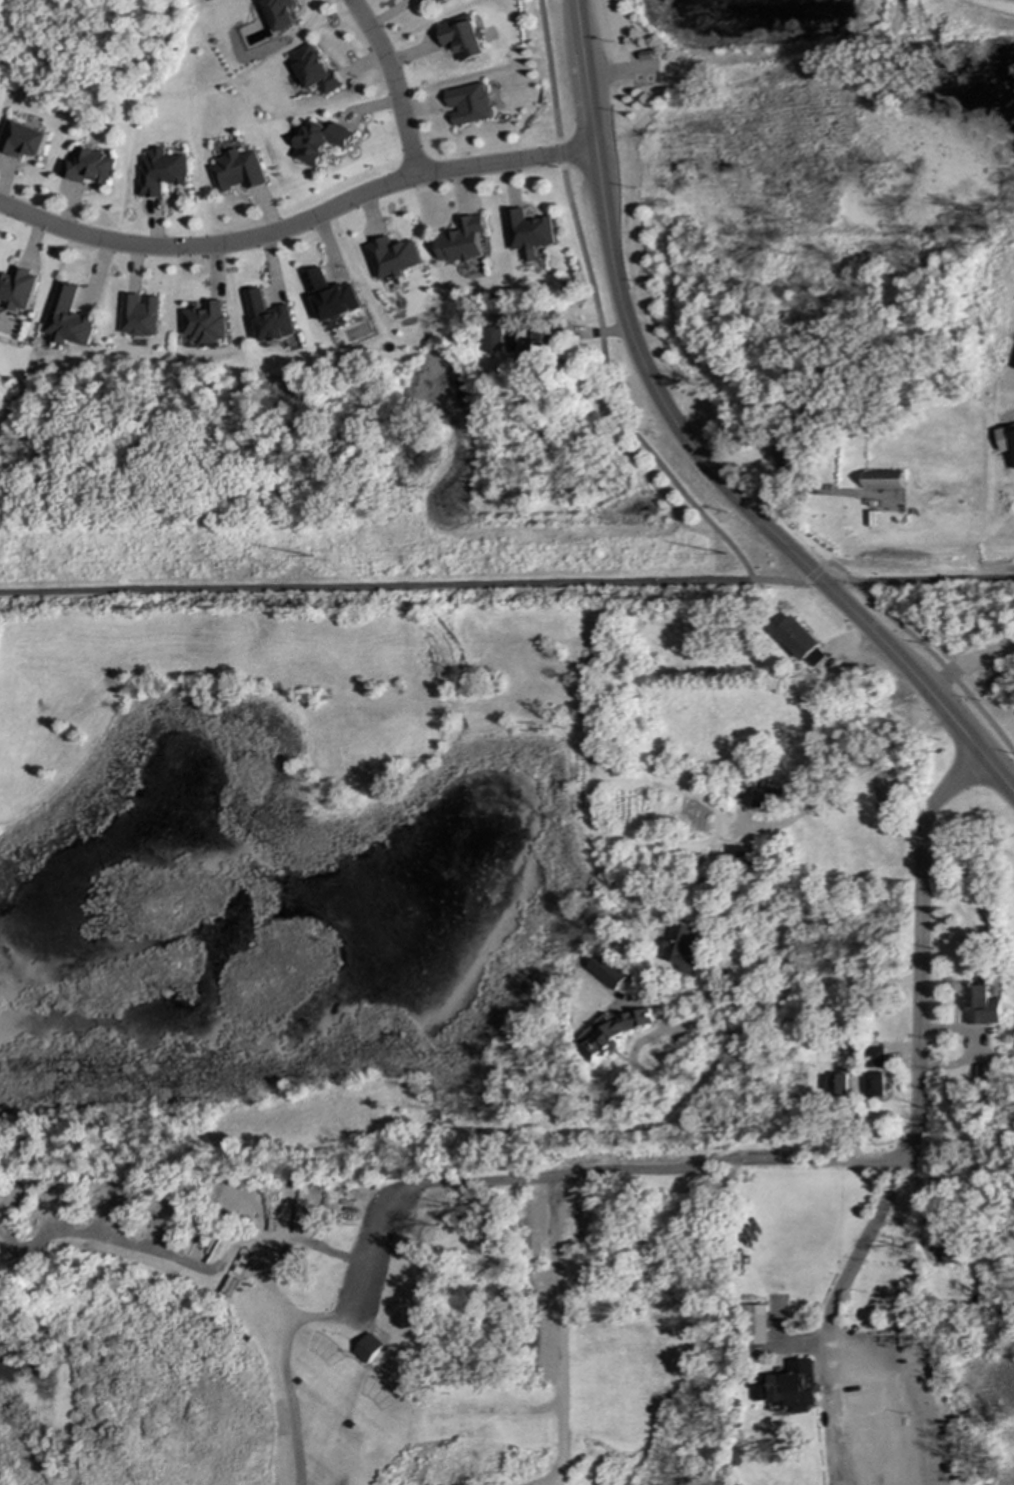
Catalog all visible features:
building: (433, 1)
building: (283, 13)
building: (463, 38)
building: (315, 68)
road: (397, 80)
building: (470, 104)
building: (23, 139)
building: (322, 141)
building: (89, 166)
building: (238, 170)
building: (162, 171)
road: (299, 222)
building: (529, 233)
building: (463, 240)
building: (393, 257)
building: (18, 289)
building: (332, 296)
road: (598, 312)
building: (140, 315)
building: (69, 317)
building: (270, 317)
building: (206, 322)
building: (494, 339)
building: (540, 346)
building: (1006, 438)
road: (690, 452)
building: (883, 479)
power tower: (758, 555)
power tower: (327, 557)
road: (838, 568)
road: (814, 574)
road: (780, 579)
road: (934, 580)
road: (376, 584)
building: (798, 638)
building: (816, 658)
road: (939, 663)
road: (861, 769)
building: (769, 796)
building: (740, 856)
building: (684, 948)
road: (783, 1000)
building: (982, 1006)
building: (610, 1034)
road: (968, 1038)
building: (875, 1057)
building: (984, 1075)
building: (838, 1083)
building: (873, 1084)
road: (786, 1161)
road: (469, 1176)
building: (950, 1257)
building: (293, 1258)
road: (832, 1316)
road: (298, 1318)
building: (757, 1324)
building: (368, 1348)
building: (788, 1387)
building: (782, 1479)

